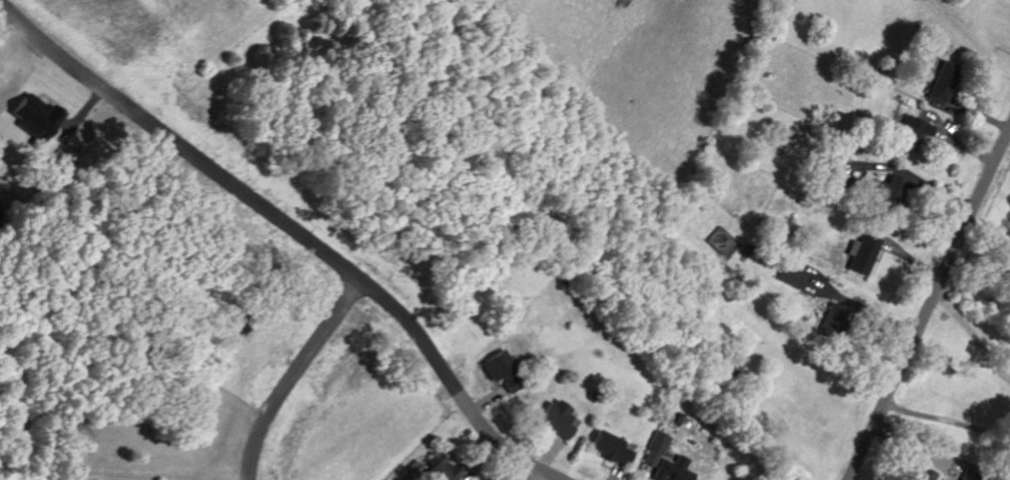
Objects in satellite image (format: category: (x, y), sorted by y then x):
road: (972, 36)
building: (945, 80)
building: (41, 116)
building: (915, 130)
road: (240, 187)
building: (866, 252)
building: (794, 274)
road: (929, 303)
road: (973, 335)
building: (505, 369)
road: (292, 374)
building: (559, 416)
road: (949, 418)
road: (501, 445)
building: (613, 446)
building: (668, 460)
building: (445, 467)
building: (931, 475)
building: (970, 475)

